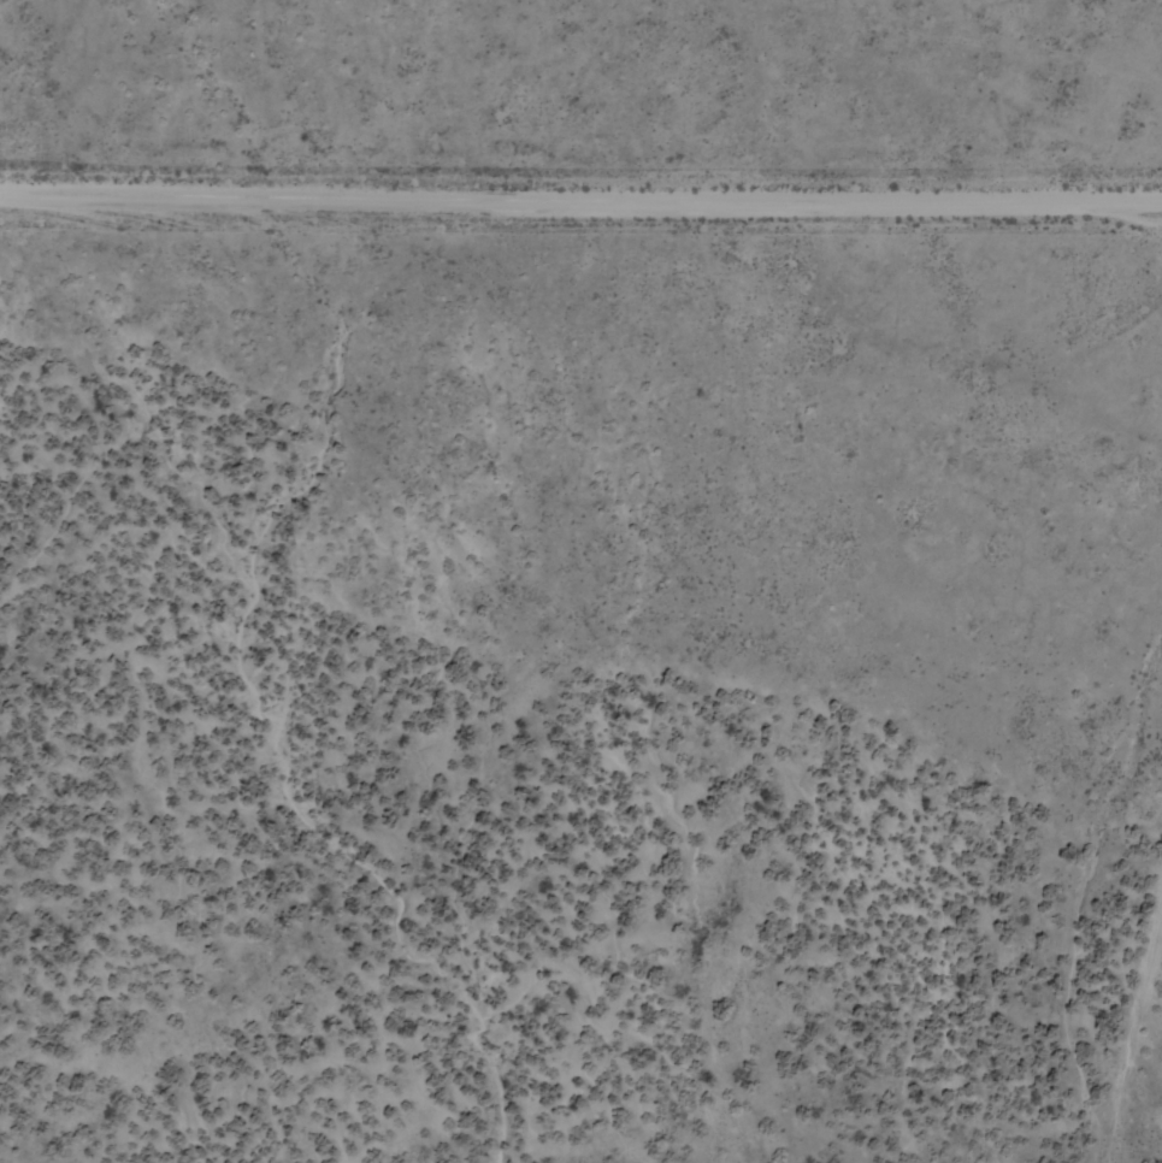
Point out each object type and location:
road: (1144, 1088)

